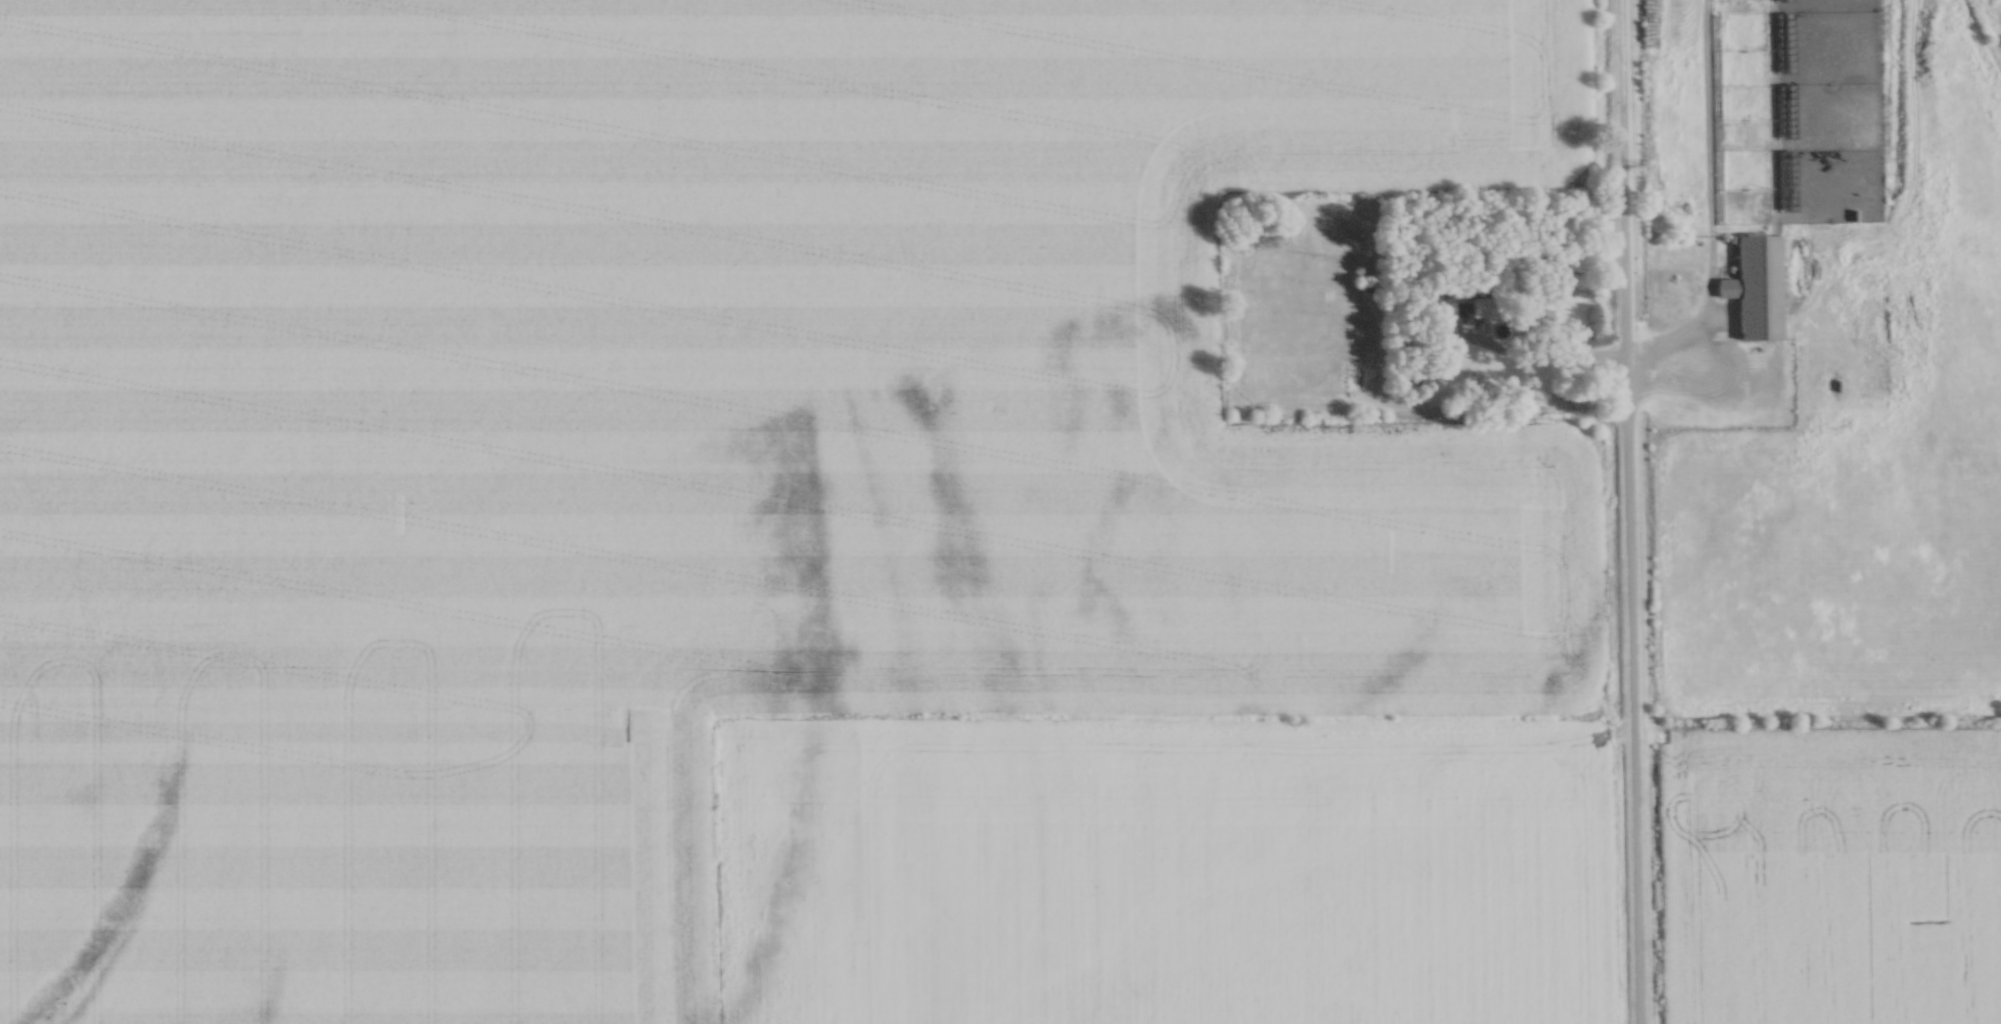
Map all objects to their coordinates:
building: (1786, 41)
building: (1787, 109)
building: (1788, 179)
building: (1757, 286)
building: (1482, 306)
road: (1617, 356)
road: (1627, 512)

